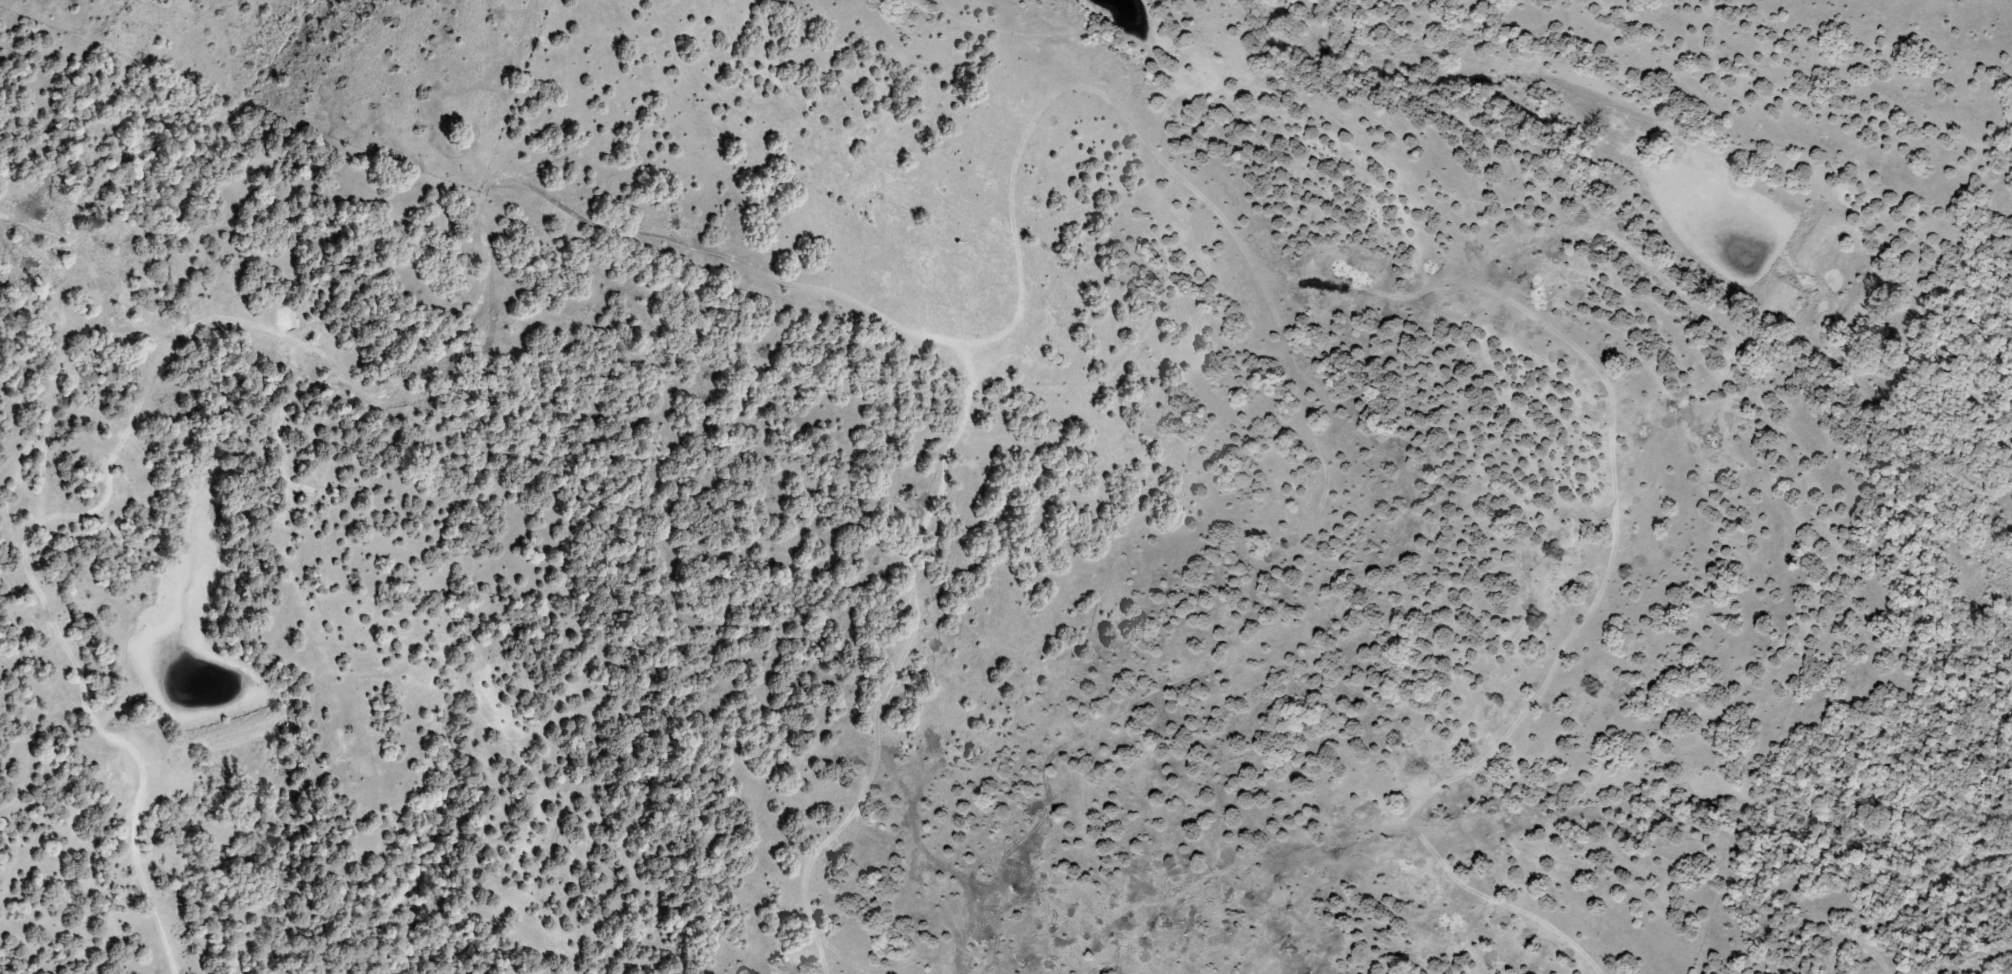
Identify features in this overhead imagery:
road: (1196, 232)

